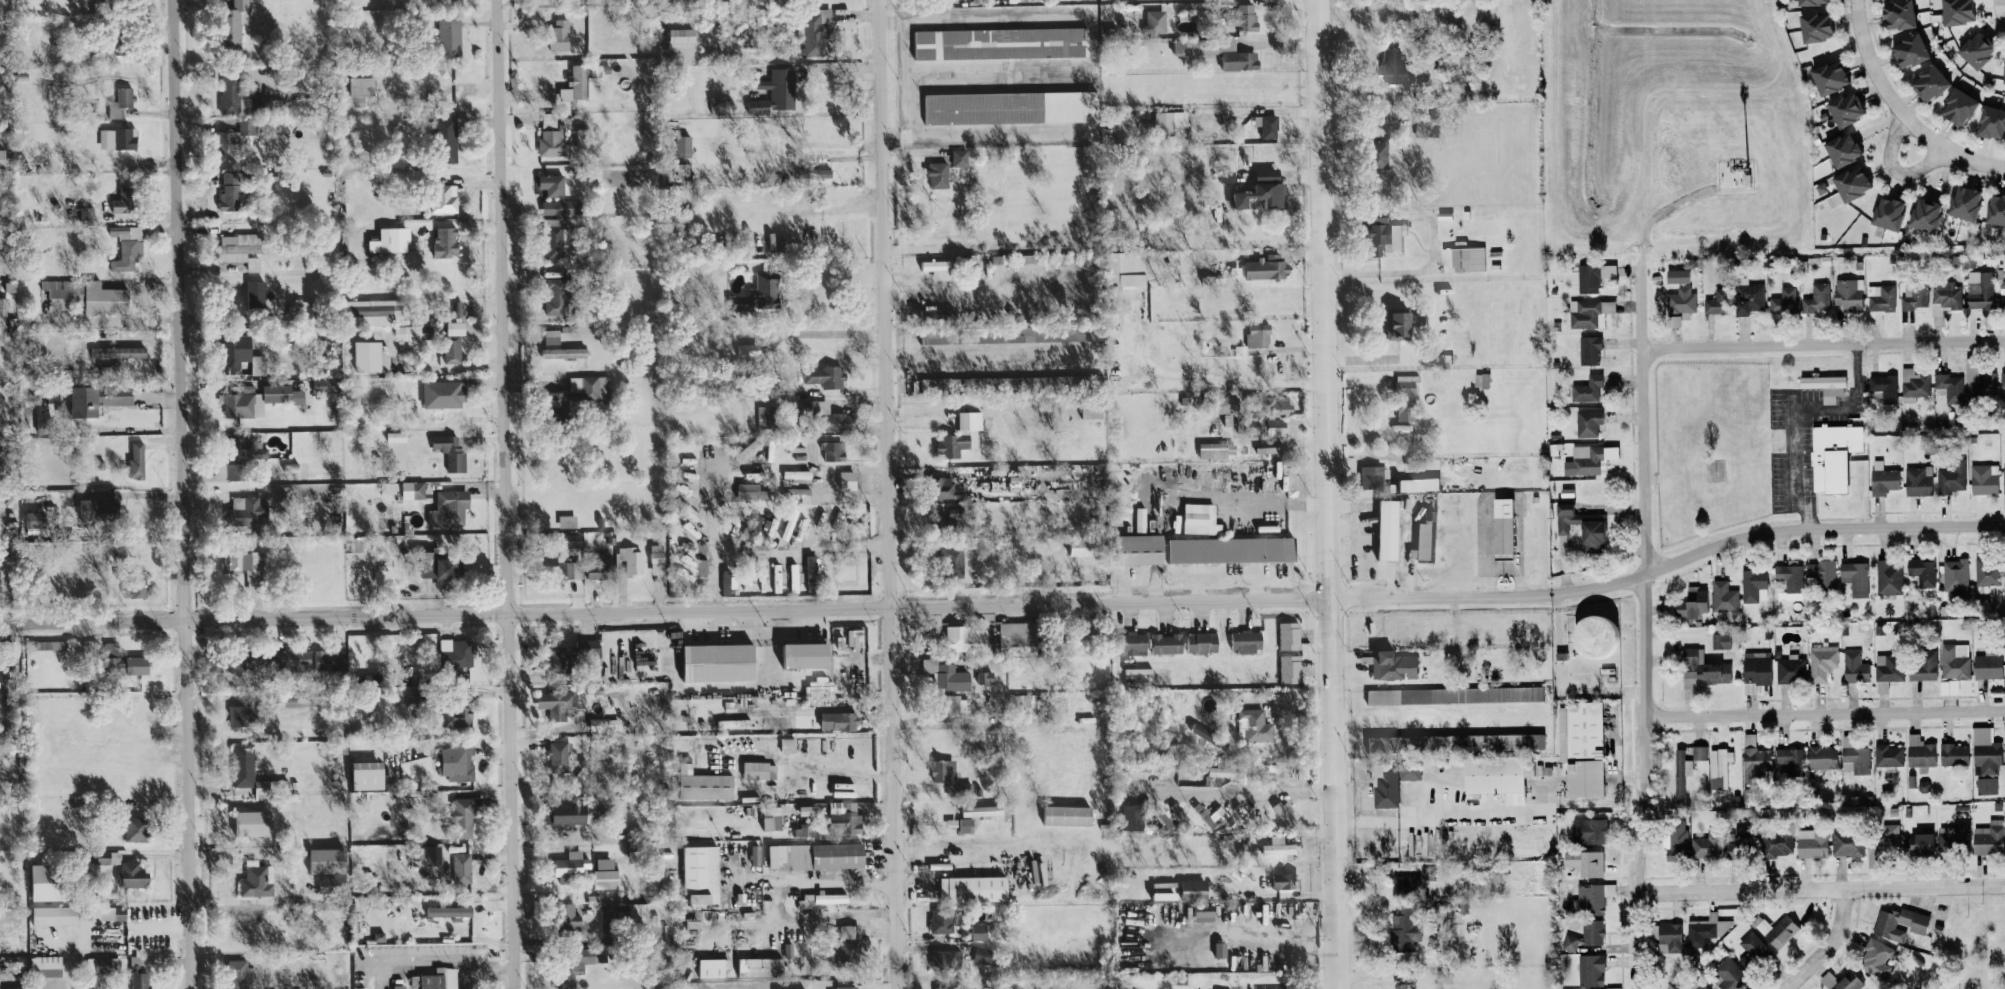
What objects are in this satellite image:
building: (1025, 0)
building: (1805, 2)
building: (1950, 11)
road: (1999, 11)
building: (1892, 14)
building: (1248, 16)
road: (985, 19)
building: (1156, 20)
road: (2004, 21)
building: (233, 23)
building: (1809, 26)
building: (816, 32)
building: (560, 34)
building: (450, 35)
building: (682, 40)
building: (1000, 42)
building: (1188, 46)
building: (1970, 48)
building: (1903, 50)
building: (1235, 55)
building: (1398, 64)
building: (2001, 67)
road: (1027, 73)
building: (1824, 76)
road: (908, 79)
building: (1923, 82)
building: (584, 83)
building: (361, 87)
building: (230, 91)
building: (776, 92)
building: (121, 102)
building: (1012, 106)
building: (1952, 107)
building: (1841, 108)
road: (1899, 111)
building: (549, 120)
building: (1174, 123)
building: (1268, 125)
building: (234, 136)
road: (985, 136)
building: (581, 137)
building: (117, 138)
building: (446, 139)
building: (552, 142)
building: (1838, 149)
building: (1380, 155)
building: (3, 157)
road: (1894, 169)
building: (817, 172)
building: (941, 174)
building: (1227, 175)
building: (1846, 182)
building: (551, 184)
building: (1265, 189)
building: (230, 191)
building: (445, 197)
building: (123, 199)
building: (1958, 202)
building: (563, 206)
building: (1993, 209)
building: (1918, 214)
building: (556, 238)
building: (390, 239)
building: (1386, 239)
building: (446, 241)
building: (127, 246)
building: (241, 249)
building: (1464, 259)
building: (1268, 267)
building: (939, 268)
building: (1126, 269)
road: (1416, 270)
building: (1610, 270)
building: (1679, 276)
building: (1588, 278)
building: (64, 288)
building: (1976, 289)
road: (1378, 290)
building: (1944, 293)
building: (556, 295)
building: (757, 295)
building: (1845, 295)
building: (1912, 295)
building: (258, 297)
building: (1751, 297)
building: (1880, 297)
building: (105, 298)
building: (1814, 299)
building: (1683, 300)
building: (1781, 301)
building: (1720, 302)
building: (3, 305)
building: (299, 307)
building: (459, 308)
building: (1591, 312)
building: (382, 316)
building: (1402, 324)
building: (456, 327)
road: (812, 333)
building: (1259, 335)
road: (1824, 344)
building: (560, 347)
building: (453, 349)
building: (752, 350)
building: (1591, 350)
building: (117, 352)
building: (236, 352)
building: (368, 356)
road: (1409, 356)
building: (386, 360)
road: (1203, 373)
building: (826, 376)
building: (2001, 379)
building: (1483, 380)
building: (326, 384)
building: (1911, 384)
building: (1981, 384)
building: (1945, 385)
building: (590, 386)
building: (1821, 386)
building: (1590, 388)
building: (1881, 388)
building: (443, 393)
building: (282, 394)
building: (1407, 397)
building: (98, 399)
building: (58, 403)
building: (243, 403)
building: (1232, 403)
building: (1280, 404)
building: (558, 405)
building: (1093, 409)
building: (765, 411)
road: (1795, 414)
building: (830, 415)
building: (1590, 423)
building: (1277, 425)
building: (1403, 427)
building: (962, 435)
building: (397, 436)
building: (834, 450)
building: (1218, 450)
building: (451, 452)
building: (1830, 456)
building: (137, 460)
building: (241, 460)
building: (1587, 460)
building: (799, 475)
building: (1372, 476)
building: (1948, 477)
building: (1981, 478)
building: (2002, 478)
building: (849, 480)
building: (1915, 480)
building: (1423, 484)
building: (946, 487)
building: (414, 490)
building: (751, 491)
road: (183, 494)
road: (502, 494)
building: (797, 494)
road: (889, 494)
road: (1330, 494)
building: (2002, 498)
building: (99, 508)
building: (450, 508)
building: (246, 510)
building: (1141, 519)
building: (1201, 519)
building: (567, 521)
road: (714, 521)
building: (790, 523)
building: (770, 525)
building: (1507, 526)
building: (1585, 526)
road: (1810, 528)
building: (1389, 529)
building: (574, 540)
building: (1425, 541)
building: (1087, 546)
building: (1141, 548)
road: (802, 549)
building: (1233, 550)
building: (954, 556)
building: (657, 558)
building: (632, 560)
building: (246, 565)
building: (439, 566)
building: (566, 570)
building: (596, 571)
building: (1921, 571)
building: (1819, 573)
building: (1985, 575)
building: (1954, 576)
building: (1852, 577)
building: (1887, 577)
building: (1787, 581)
building: (0, 582)
building: (1753, 585)
building: (134, 588)
road: (1478, 593)
building: (1725, 596)
building: (1696, 603)
road: (666, 609)
road: (1643, 622)
building: (857, 635)
building: (1290, 635)
building: (1600, 635)
building: (1019, 637)
building: (967, 638)
building: (1247, 640)
building: (1722, 640)
building: (1203, 642)
building: (1134, 643)
building: (1168, 643)
building: (52, 644)
building: (456, 651)
building: (806, 653)
building: (296, 658)
building: (114, 659)
building: (329, 659)
building: (721, 661)
building: (1819, 661)
building: (1952, 661)
building: (1393, 664)
building: (138, 665)
building: (1919, 665)
building: (1852, 666)
building: (1985, 666)
building: (1290, 668)
building: (1703, 669)
building: (1789, 669)
building: (1758, 670)
building: (1884, 671)
building: (947, 675)
building: (986, 676)
building: (1946, 686)
building: (1456, 694)
building: (299, 697)
building: (560, 702)
building: (1032, 702)
road: (1826, 713)
building: (240, 714)
building: (943, 714)
building: (458, 715)
building: (840, 719)
building: (1254, 725)
building: (1457, 742)
building: (788, 744)
building: (2003, 744)
building: (1585, 746)
building: (1701, 751)
building: (1918, 751)
building: (1982, 751)
building: (1887, 754)
building: (1951, 754)
building: (559, 755)
building: (1826, 756)
building: (1856, 756)
building: (1793, 759)
building: (459, 762)
building: (1759, 762)
building: (244, 764)
building: (1141, 764)
building: (1721, 766)
building: (407, 768)
building: (760, 769)
building: (1229, 770)
building: (1267, 770)
building: (1681, 772)
building: (369, 774)
building: (947, 774)
building: (1499, 774)
road: (849, 775)
building: (1391, 781)
building: (704, 783)
building: (1983, 786)
building: (263, 789)
road: (1259, 792)
building: (1750, 793)
building: (1281, 807)
building: (808, 809)
building: (983, 809)
building: (463, 813)
building: (568, 813)
building: (1069, 813)
building: (1205, 813)
building: (1132, 815)
building: (1173, 815)
building: (773, 819)
building: (847, 821)
building: (254, 822)
building: (966, 824)
building: (136, 828)
building: (807, 828)
building: (1591, 828)
road: (1307, 834)
building: (2004, 834)
building: (1955, 836)
building: (1989, 836)
building: (1850, 841)
building: (1922, 842)
building: (1765, 843)
building: (1816, 843)
building: (1709, 844)
building: (1886, 844)
building: (1281, 845)
road: (965, 846)
building: (756, 854)
building: (818, 854)
building: (109, 856)
building: (329, 859)
building: (1588, 861)
building: (569, 865)
building: (462, 866)
building: (702, 872)
building: (606, 873)
building: (134, 874)
building: (254, 878)
building: (1284, 879)
building: (47, 883)
building: (974, 887)
building: (1195, 888)
road: (1821, 889)
building: (1165, 890)
building: (1594, 897)
building: (821, 898)
road: (778, 901)
building: (248, 908)
building: (449, 910)
building: (640, 911)
building: (113, 912)
building: (1204, 912)
building: (55, 914)
building: (570, 915)
building: (943, 920)
building: (1902, 922)
building: (1405, 925)
building: (248, 927)
building: (1706, 929)
building: (1785, 929)
building: (980, 930)
road: (1244, 933)
building: (1587, 934)
building: (1672, 937)
building: (847, 943)
road: (1833, 945)
building: (1755, 946)
building: (1221, 948)
building: (983, 955)
building: (1878, 956)
building: (946, 958)
building: (580, 961)
road: (436, 962)
building: (100, 963)
building: (46, 965)
building: (761, 965)
building: (712, 966)
building: (1593, 968)
building: (238, 973)
building: (139, 974)
building: (1732, 974)
building: (439, 978)
building: (1843, 980)
building: (400, 986)
building: (844, 987)
building: (944, 987)

